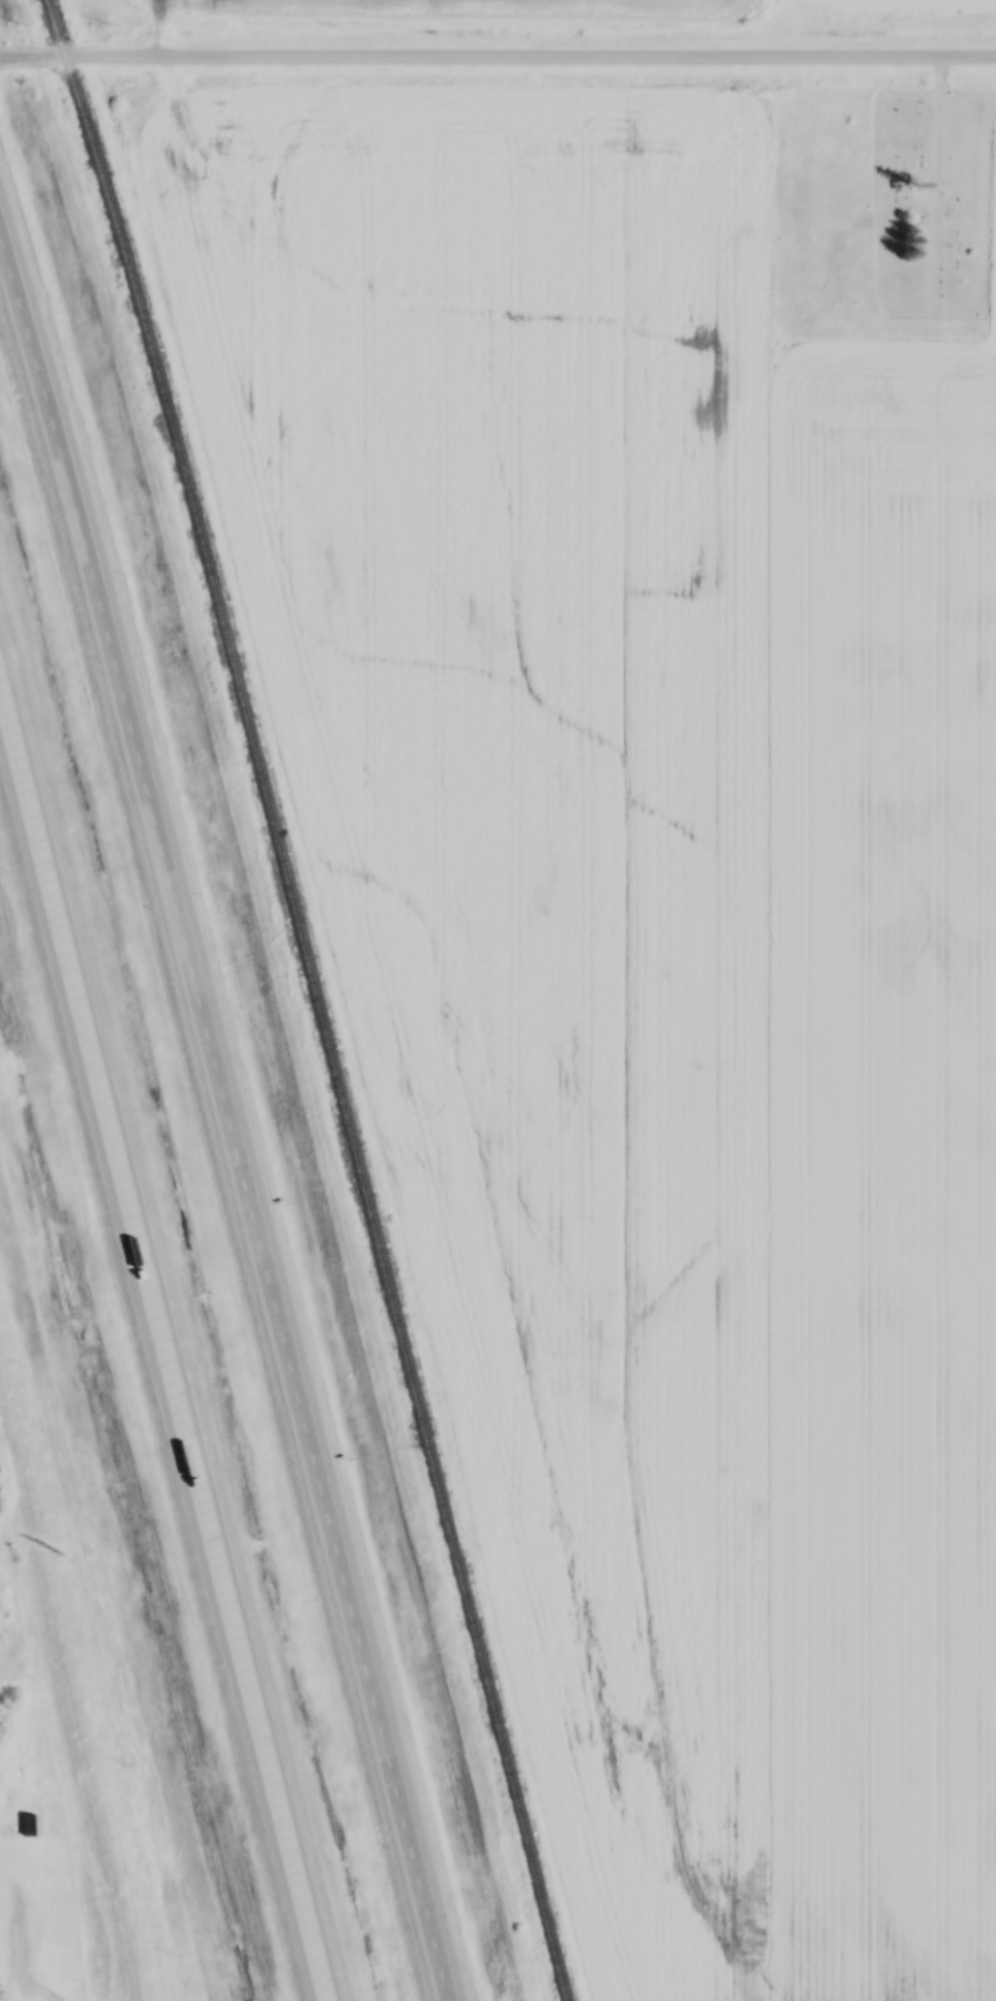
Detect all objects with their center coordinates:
park: (807, 206)
railway: (321, 997)
road: (164, 1346)
building: (31, 1822)

